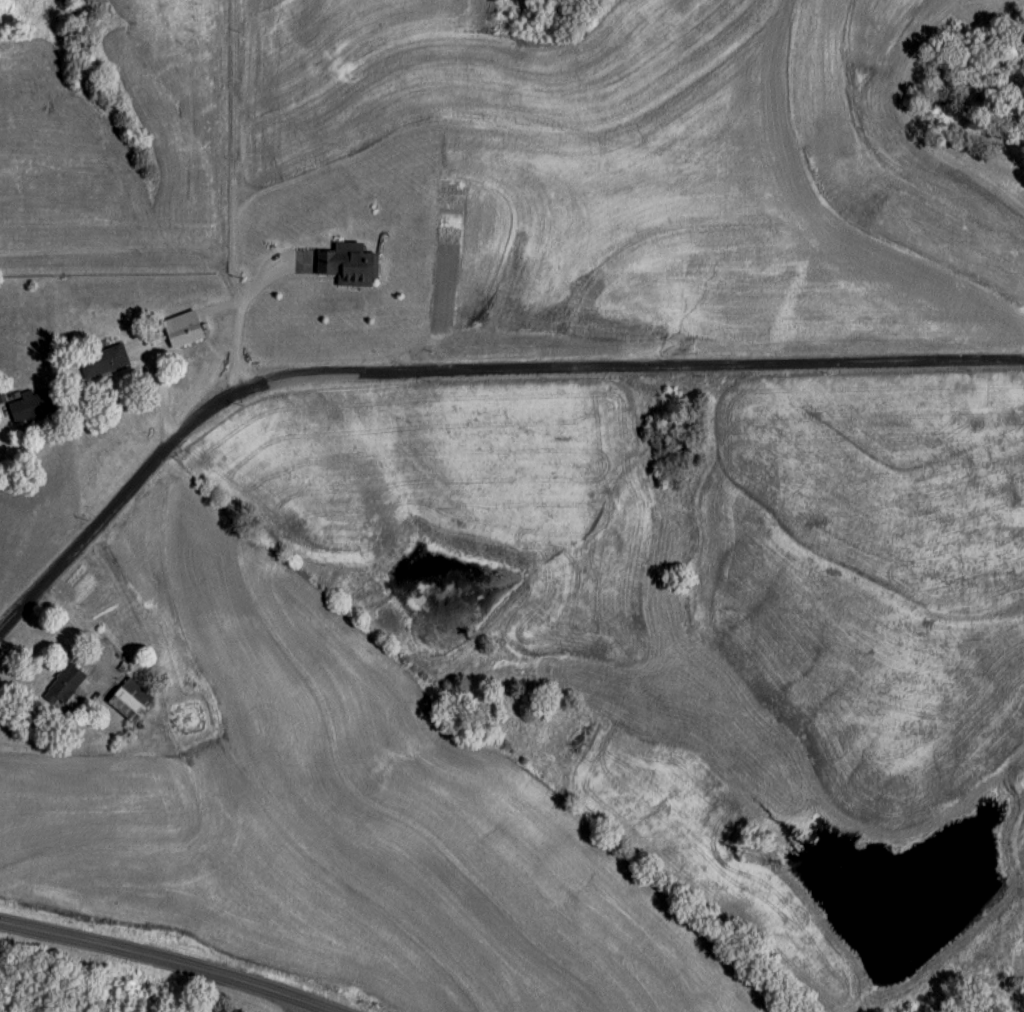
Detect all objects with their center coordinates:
road: (222, 195)
building: (348, 268)
building: (171, 330)
building: (103, 362)
road: (466, 370)
building: (63, 687)
building: (129, 701)
road: (135, 974)

